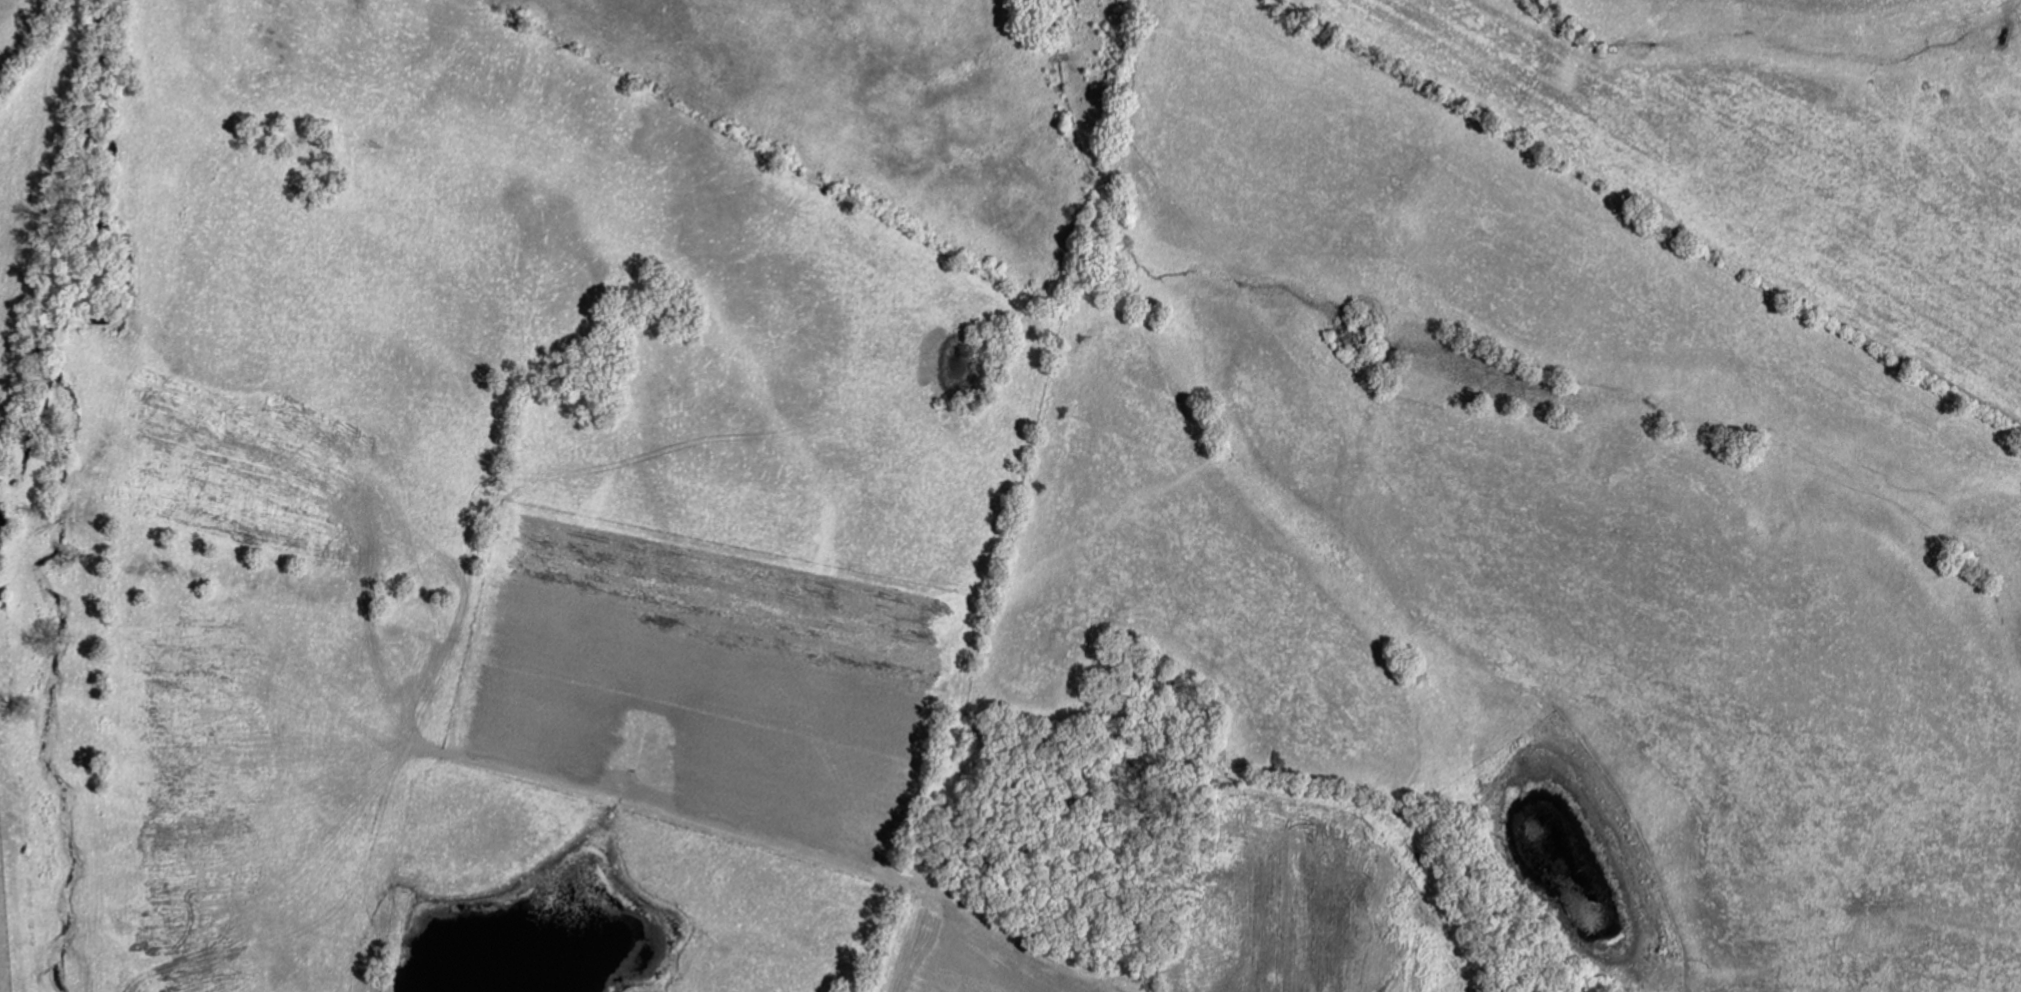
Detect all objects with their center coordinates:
road: (1809, 632)

